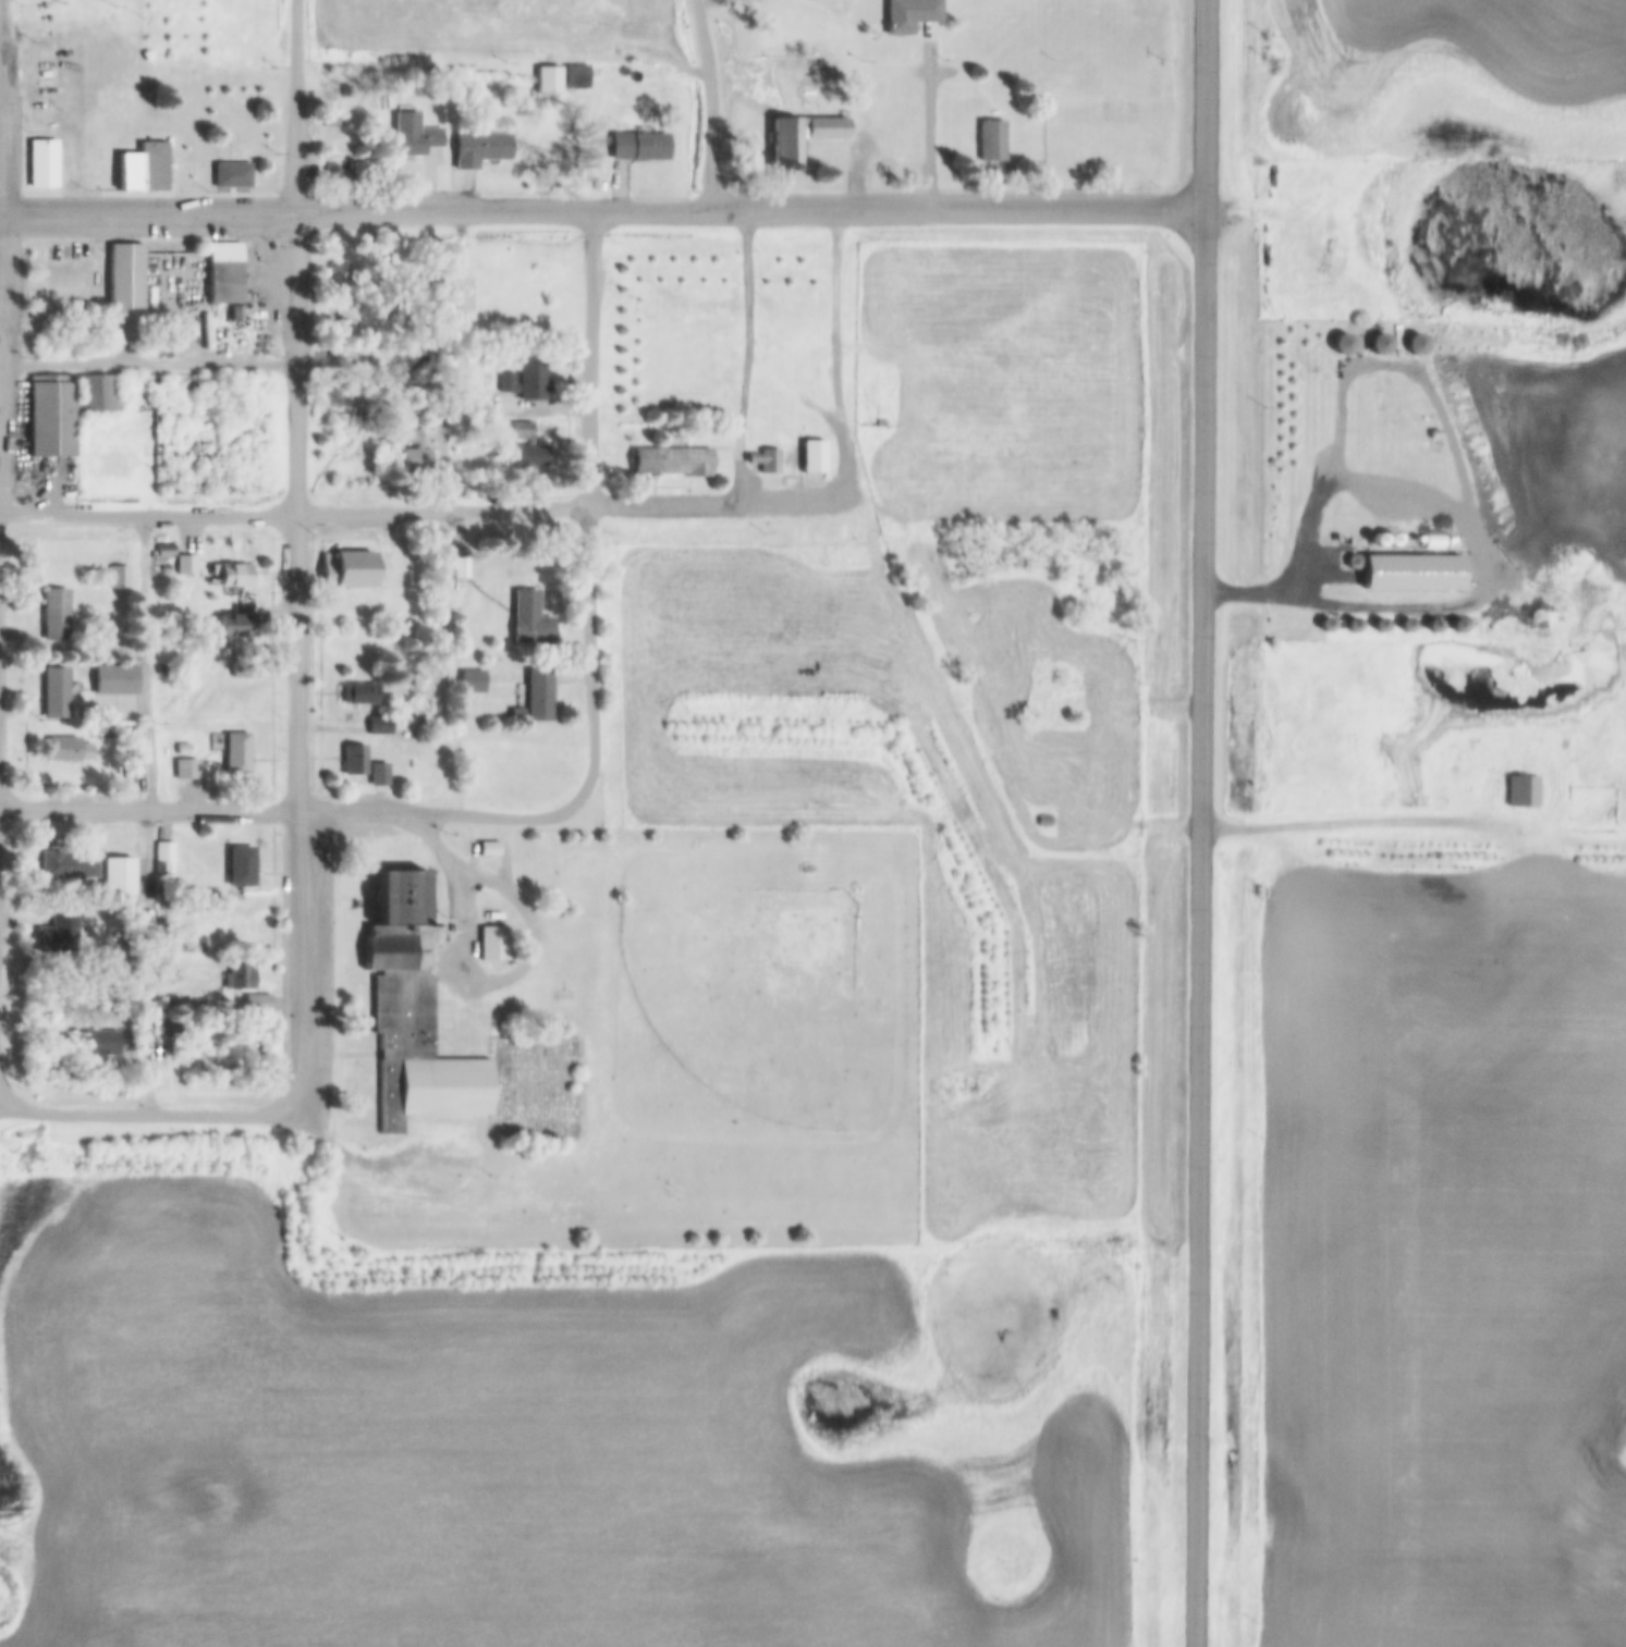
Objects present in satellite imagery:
building: (1145, 10)
building: (909, 14)
building: (574, 77)
building: (547, 79)
road: (709, 103)
road: (930, 119)
building: (330, 125)
building: (412, 136)
building: (990, 143)
building: (637, 147)
building: (478, 149)
building: (784, 156)
building: (41, 165)
building: (151, 168)
building: (129, 173)
building: (338, 173)
building: (231, 177)
road: (602, 211)
building: (223, 274)
building: (125, 278)
park: (448, 292)
park: (462, 294)
building: (235, 316)
building: (1343, 345)
silo: (1343, 345)
building: (1379, 346)
silo: (1379, 346)
building: (1415, 346)
silo: (1415, 346)
road: (748, 357)
road: (148, 364)
building: (525, 383)
building: (331, 396)
building: (61, 409)
road: (822, 413)
building: (527, 447)
building: (414, 452)
building: (811, 458)
building: (765, 462)
building: (673, 463)
road: (718, 505)
road: (590, 508)
road: (295, 518)
building: (164, 553)
road: (298, 561)
building: (1379, 563)
silo: (1379, 563)
building: (1327, 564)
silo: (1327, 564)
building: (1353, 564)
silo: (1353, 564)
building: (1406, 564)
silo: (1406, 564)
building: (1433, 564)
silo: (1433, 564)
building: (1459, 564)
silo: (1459, 564)
road: (1480, 565)
building: (185, 566)
building: (347, 570)
building: (459, 570)
building: (230, 576)
building: (118, 578)
building: (54, 617)
building: (529, 622)
building: (237, 624)
building: (1324, 626)
silo: (1324, 626)
building: (1352, 627)
silo: (1352, 627)
building: (1379, 627)
silo: (1379, 627)
building: (1405, 627)
silo: (1405, 627)
building: (1432, 628)
silo: (1432, 628)
building: (1457, 628)
silo: (1457, 628)
building: (109, 671)
building: (472, 684)
building: (54, 695)
building: (359, 696)
building: (538, 698)
building: (129, 710)
building: (379, 728)
building: (62, 751)
building: (235, 758)
building: (354, 762)
building: (131, 765)
building: (194, 772)
building: (378, 777)
building: (1520, 795)
road: (1074, 809)
road: (292, 813)
building: (1042, 822)
road: (1201, 823)
building: (488, 851)
building: (164, 857)
building: (66, 868)
building: (240, 869)
building: (117, 878)
building: (491, 917)
chimney: (425, 929)
building: (57, 938)
building: (492, 944)
building: (166, 971)
building: (237, 980)
road: (481, 980)
park: (750, 996)
building: (257, 1005)
building: (412, 1017)
building: (167, 1030)
building: (100, 1045)
park: (555, 1090)
park: (517, 1091)
road: (138, 1115)
road: (362, 1166)

